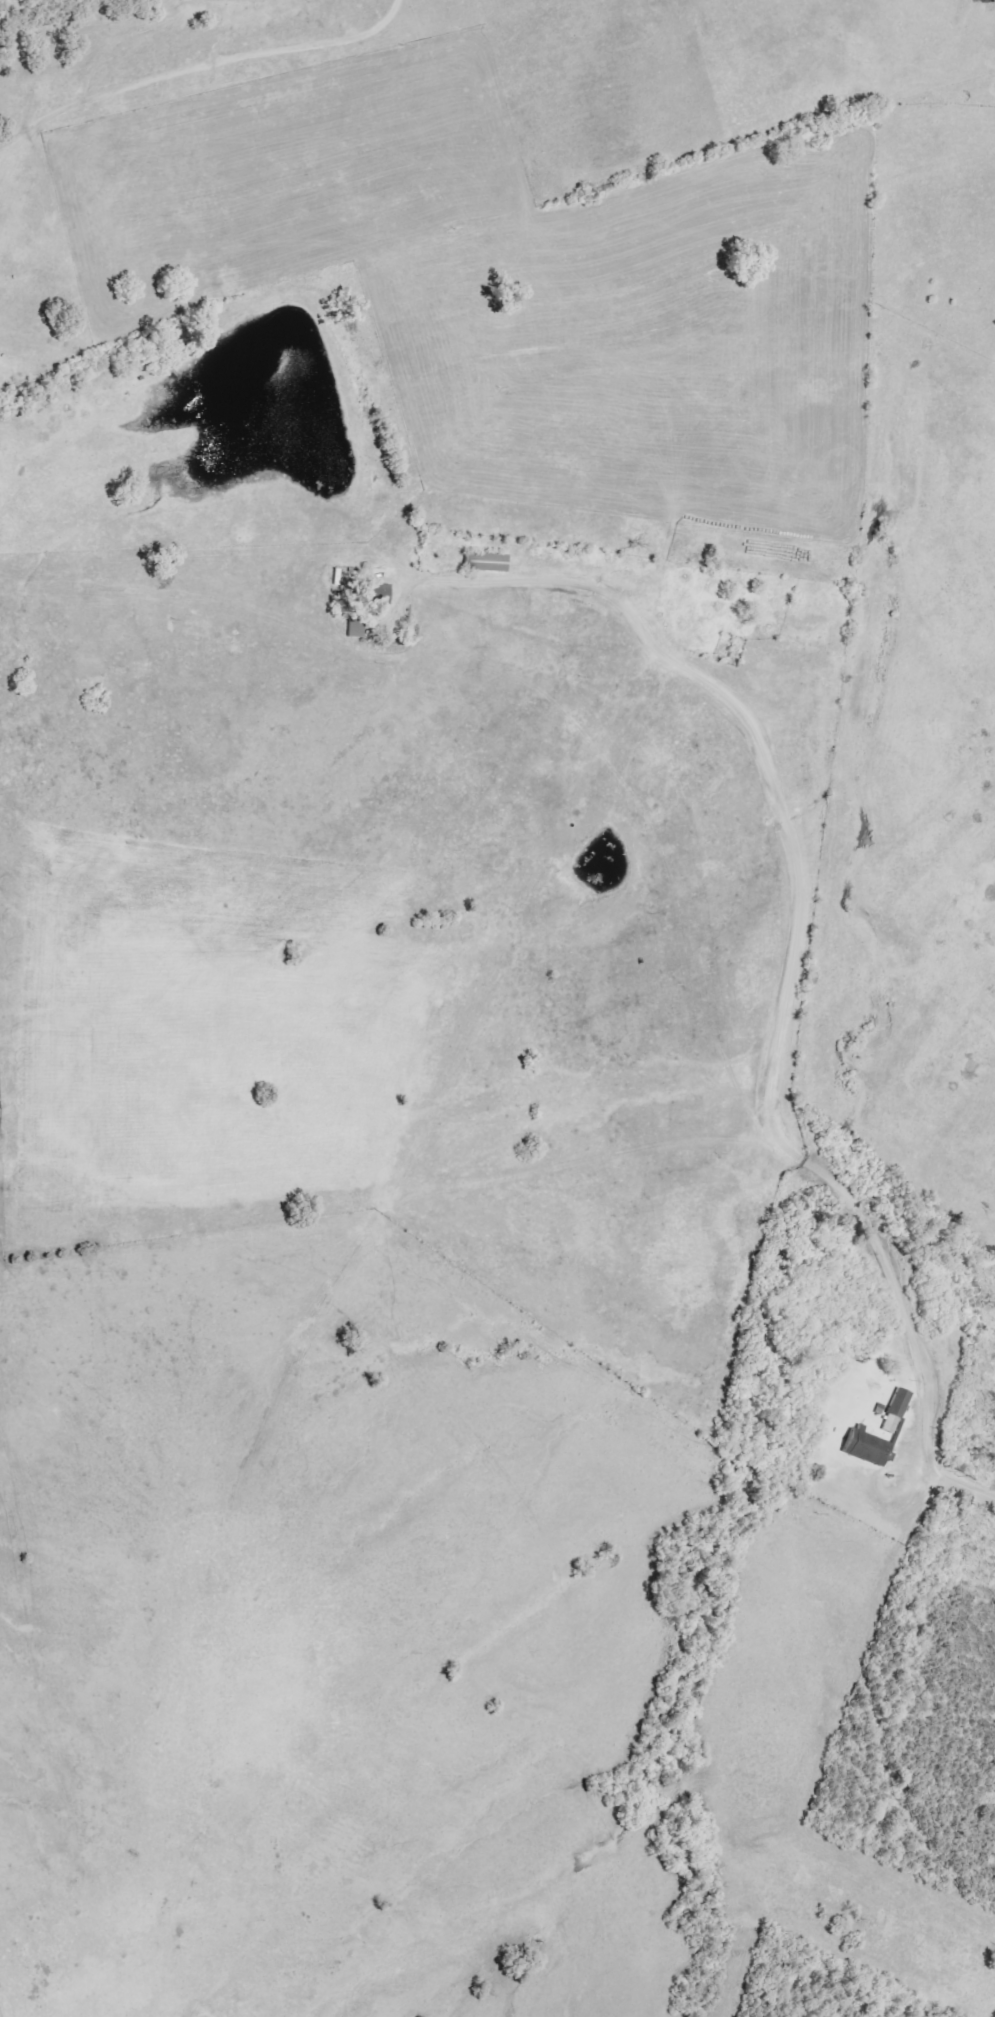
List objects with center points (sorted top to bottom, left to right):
road: (192, 50)
building: (488, 563)
building: (381, 595)
road: (802, 911)
building: (896, 1410)
building: (869, 1447)
road: (961, 1480)

